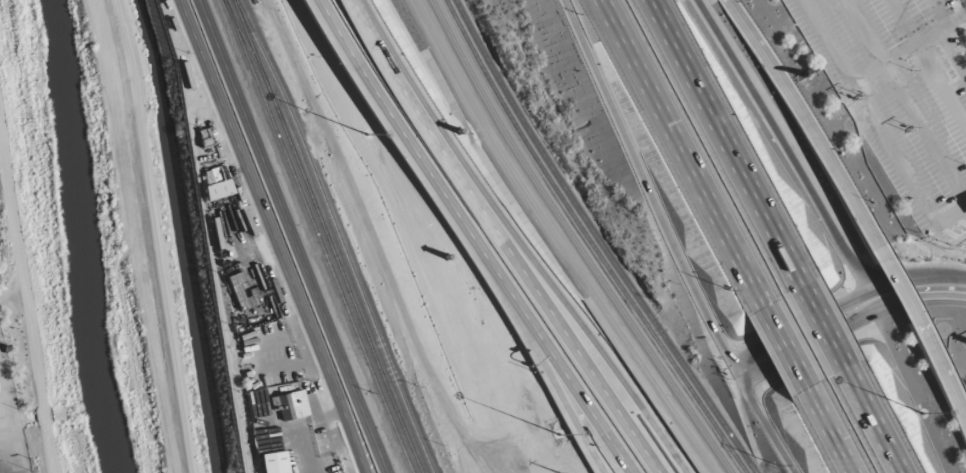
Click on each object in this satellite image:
road: (602, 7)
road: (959, 12)
road: (940, 13)
road: (952, 55)
railway: (253, 60)
railway: (256, 60)
road: (929, 64)
road: (869, 71)
parking lot: (901, 95)
power tower: (857, 98)
road: (906, 100)
road: (805, 122)
power tower: (909, 130)
building: (343, 137)
road: (725, 142)
road: (790, 153)
road: (684, 158)
road: (901, 164)
road: (647, 188)
road: (10, 227)
railway: (335, 235)
road: (273, 236)
road: (291, 236)
railway: (318, 236)
river: (81, 237)
road: (481, 237)
road: (510, 238)
railway: (601, 239)
railway: (575, 240)
railway: (589, 240)
power tower: (946, 247)
road: (897, 285)
railway: (352, 296)
road: (9, 298)
road: (26, 302)
road: (842, 304)
road: (585, 316)
road: (848, 326)
road: (822, 327)
road: (535, 334)
building: (424, 338)
road: (785, 347)
road: (943, 372)
traffic signals: (737, 375)
road: (33, 383)
building: (288, 408)
road: (872, 420)
road: (765, 424)
road: (830, 432)
road: (5, 436)

